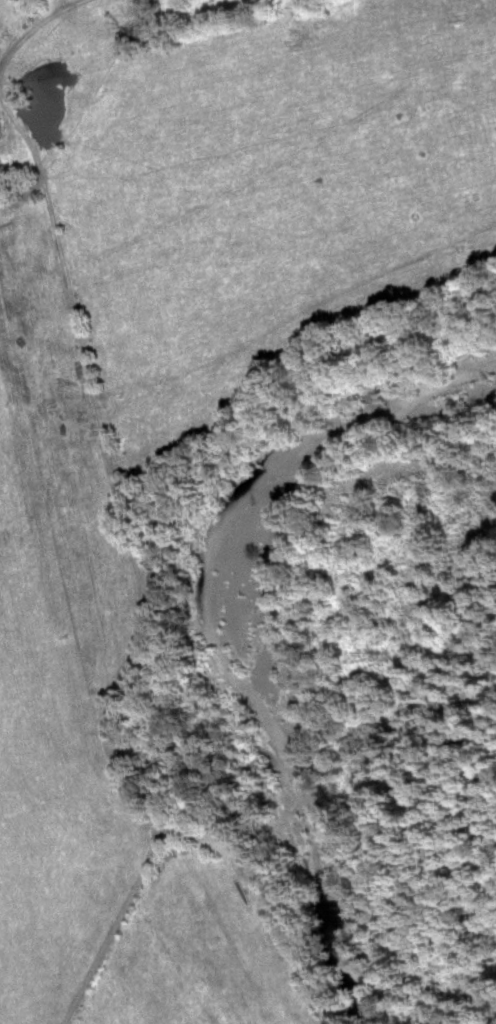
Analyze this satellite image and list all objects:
road: (125, 502)

